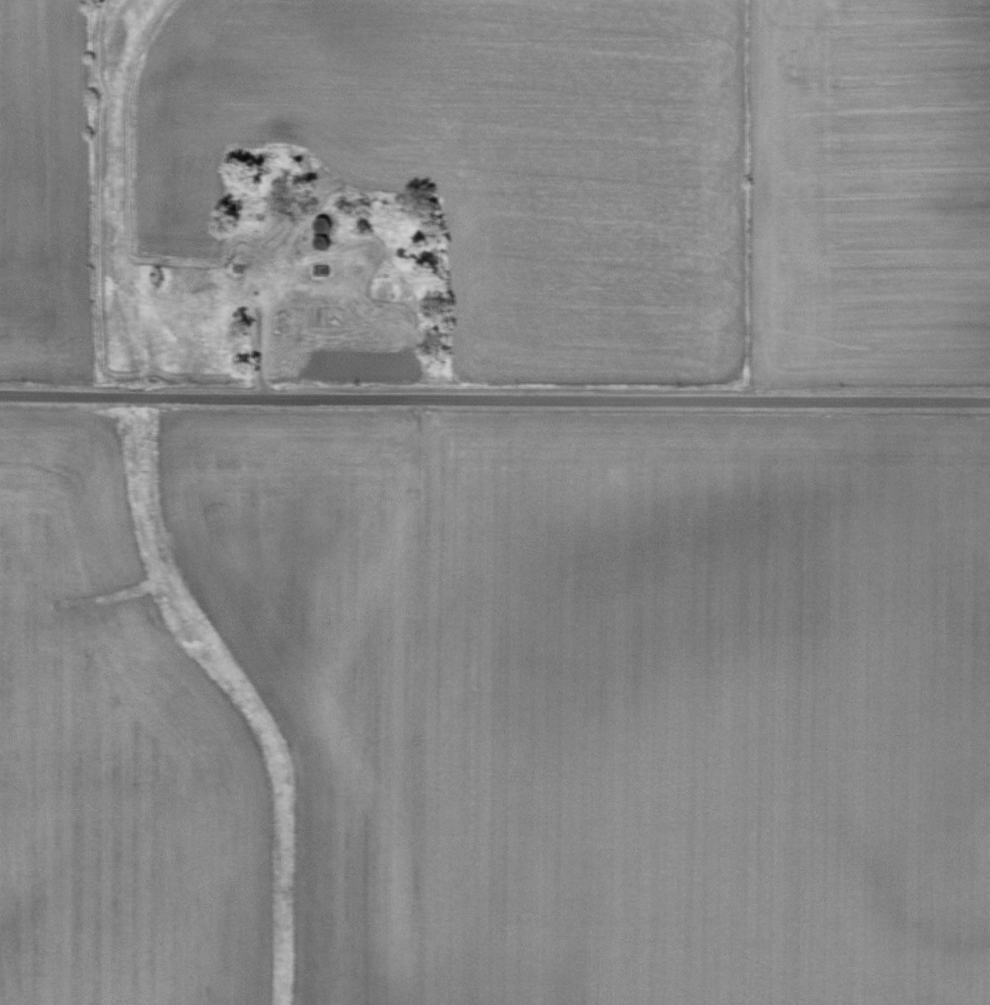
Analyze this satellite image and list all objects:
road: (495, 398)

